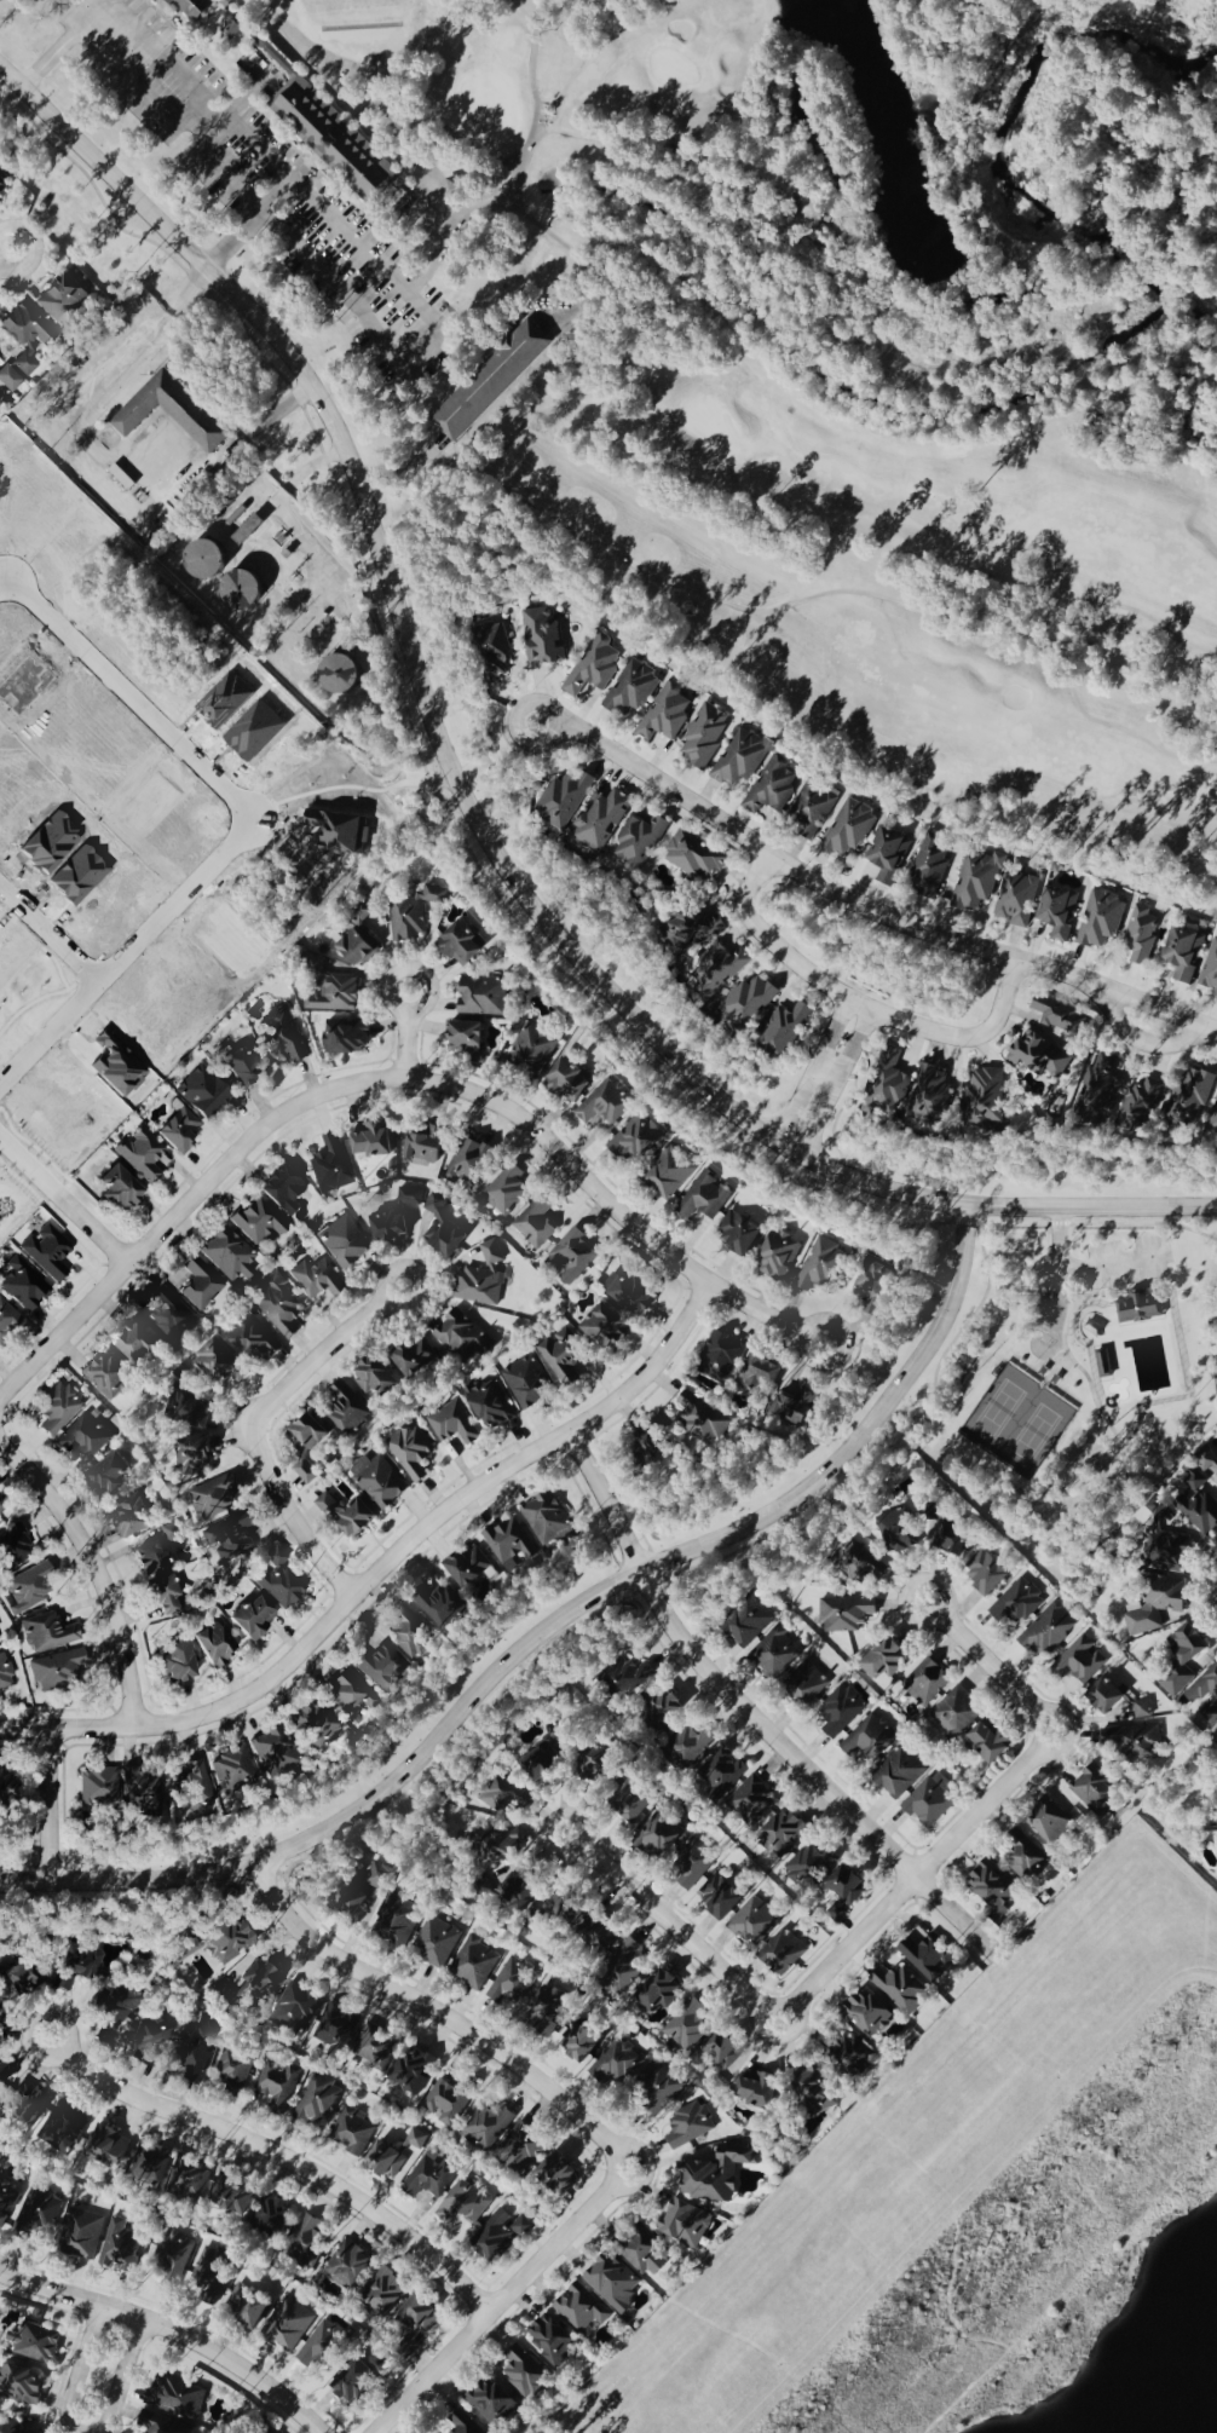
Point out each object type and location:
river: (1199, 4)
building: (190, 10)
road: (63, 42)
road: (530, 67)
road: (243, 98)
road: (177, 117)
building: (318, 119)
road: (552, 125)
road: (398, 128)
road: (613, 142)
river: (1011, 171)
building: (4, 180)
building: (450, 184)
parking lot: (261, 188)
building: (824, 217)
road: (5, 255)
road: (381, 276)
road: (593, 284)
road: (173, 296)
building: (62, 301)
road: (558, 315)
road: (119, 331)
building: (25, 336)
park: (692, 373)
building: (8, 380)
building: (490, 380)
building: (171, 409)
road: (160, 433)
road: (458, 462)
road: (404, 465)
road: (145, 477)
road: (283, 514)
road: (867, 541)
building: (204, 557)
road: (4, 586)
building: (241, 587)
road: (813, 599)
building: (541, 638)
building: (494, 652)
building: (593, 667)
building: (339, 671)
building: (631, 690)
road: (131, 692)
building: (664, 715)
building: (704, 736)
road: (413, 743)
building: (740, 759)
building: (771, 789)
building: (563, 800)
building: (812, 807)
road: (471, 817)
building: (601, 819)
building: (849, 829)
building: (639, 841)
building: (888, 855)
building: (694, 857)
building: (929, 870)
building: (977, 881)
building: (1016, 898)
road: (860, 907)
building: (1059, 912)
building: (410, 915)
building: (1101, 919)
building: (693, 929)
building: (1142, 934)
building: (358, 941)
road: (46, 944)
building: (460, 945)
road: (125, 951)
building: (1184, 953)
building: (1210, 970)
building: (334, 994)
building: (481, 997)
building: (749, 1002)
road: (858, 1005)
building: (1061, 1017)
road: (841, 1019)
building: (784, 1031)
road: (865, 1032)
road: (404, 1034)
building: (345, 1038)
building: (465, 1038)
building: (284, 1039)
road: (1142, 1040)
building: (532, 1051)
building: (1038, 1055)
building: (243, 1070)
road: (829, 1073)
building: (567, 1082)
building: (888, 1085)
road: (802, 1089)
building: (1098, 1090)
road: (328, 1091)
building: (202, 1092)
building: (984, 1099)
building: (1189, 1101)
road: (829, 1102)
building: (605, 1105)
building: (1138, 1105)
building: (1212, 1118)
building: (179, 1131)
building: (636, 1138)
building: (370, 1142)
building: (425, 1147)
road: (836, 1149)
building: (142, 1155)
building: (468, 1163)
building: (330, 1165)
building: (669, 1175)
building: (119, 1189)
building: (282, 1189)
building: (506, 1190)
building: (704, 1198)
road: (63, 1200)
building: (398, 1217)
building: (258, 1222)
building: (535, 1223)
building: (442, 1227)
building: (738, 1233)
building: (344, 1243)
road: (1049, 1249)
building: (46, 1252)
building: (227, 1256)
building: (570, 1257)
building: (778, 1257)
building: (819, 1267)
road: (1088, 1267)
road: (404, 1272)
building: (317, 1280)
building: (480, 1280)
building: (22, 1285)
building: (198, 1285)
road: (1094, 1288)
building: (875, 1291)
building: (627, 1293)
building: (279, 1307)
building: (1137, 1308)
road: (765, 1313)
building: (169, 1315)
building: (7, 1320)
building: (604, 1328)
building: (463, 1338)
building: (253, 1339)
building: (137, 1347)
building: (561, 1356)
building: (721, 1357)
building: (415, 1359)
building: (215, 1361)
building: (1102, 1365)
road: (1054, 1370)
building: (106, 1377)
building: (760, 1379)
building: (377, 1380)
building: (526, 1383)
park: (1079, 1388)
building: (491, 1406)
road: (1098, 1407)
building: (794, 1408)
building: (58, 1411)
building: (189, 1411)
building: (347, 1411)
building: (699, 1418)
building: (452, 1425)
road: (248, 1430)
building: (307, 1435)
building: (83, 1437)
building: (653, 1445)
building: (411, 1453)
building: (192, 1455)
building: (1206, 1464)
building: (306, 1474)
building: (108, 1476)
building: (377, 1482)
building: (213, 1498)
building: (1195, 1503)
road: (1069, 1509)
building: (1, 1512)
building: (346, 1516)
building: (134, 1517)
building: (548, 1521)
building: (898, 1532)
building: (174, 1533)
building: (230, 1538)
building: (951, 1540)
building: (511, 1543)
building: (12, 1546)
road: (644, 1549)
building: (1167, 1553)
building: (151, 1559)
building: (855, 1562)
road: (380, 1566)
building: (468, 1567)
road: (94, 1570)
building: (986, 1574)
building: (276, 1581)
road: (650, 1584)
building: (30, 1587)
road: (669, 1595)
building: (165, 1597)
building: (1016, 1604)
building: (1159, 1604)
building: (440, 1607)
building: (846, 1614)
building: (253, 1619)
building: (748, 1624)
road: (543, 1628)
building: (1048, 1632)
building: (46, 1633)
building: (413, 1637)
building: (0, 1639)
building: (215, 1644)
building: (775, 1654)
building: (1183, 1660)
building: (884, 1661)
road: (985, 1662)
building: (1079, 1662)
building: (178, 1664)
building: (380, 1667)
building: (56, 1670)
building: (5, 1673)
building: (624, 1680)
building: (925, 1683)
building: (807, 1684)
building: (1205, 1689)
building: (345, 1690)
building: (1118, 1701)
building: (841, 1711)
building: (662, 1712)
building: (954, 1714)
road: (746, 1718)
building: (313, 1725)
building: (869, 1739)
building: (1130, 1740)
building: (991, 1742)
building: (693, 1748)
building: (271, 1753)
building: (543, 1757)
building: (232, 1772)
building: (720, 1774)
building: (899, 1774)
building: (600, 1781)
building: (5, 1788)
building: (97, 1788)
building: (194, 1789)
building: (140, 1794)
building: (1097, 1794)
building: (506, 1797)
building: (630, 1801)
building: (750, 1801)
building: (932, 1801)
road: (46, 1805)
building: (1049, 1823)
building: (781, 1834)
building: (659, 1837)
building: (502, 1845)
building: (1025, 1857)
building: (691, 1866)
building: (808, 1867)
road: (915, 1876)
building: (992, 1885)
building: (367, 1886)
building: (847, 1887)
building: (485, 1893)
building: (515, 1893)
building: (719, 1897)
building: (558, 1907)
building: (398, 1920)
building: (752, 1922)
road: (668, 1926)
building: (598, 1936)
building: (227, 1942)
building: (436, 1943)
building: (780, 1954)
building: (928, 1958)
building: (473, 1965)
building: (77, 1968)
building: (622, 1968)
building: (253, 1981)
building: (512, 1982)
building: (17, 1983)
building: (901, 1989)
building: (659, 1993)
building: (114, 2002)
building: (296, 2011)
road: (432, 2013)
building: (547, 2013)
building: (866, 2016)
road: (795, 2025)
building: (686, 2028)
road: (759, 2028)
building: (336, 2031)
building: (148, 2041)
building: (586, 2043)
building: (720, 2048)
building: (194, 2051)
building: (850, 2058)
building: (393, 2062)
building: (731, 2062)
building: (615, 2064)
building: (233, 2074)
building: (276, 2086)
building: (659, 2086)
building: (755, 2092)
building: (814, 2093)
building: (448, 2102)
building: (316, 2103)
building: (28, 2104)
building: (488, 2127)
building: (688, 2127)
building: (62, 2129)
building: (351, 2133)
building: (416, 2140)
building: (108, 2149)
building: (518, 2150)
road: (277, 2156)
building: (385, 2161)
building: (149, 2168)
building: (715, 2174)
building: (429, 2178)
building: (556, 2178)
building: (188, 2181)
building: (231, 2199)
building: (6, 2202)
building: (463, 2206)
building: (38, 2215)
building: (271, 2221)
building: (685, 2225)
building: (81, 2235)
building: (500, 2237)
building: (306, 2243)
building: (120, 2248)
building: (646, 2255)
building: (173, 2259)
building: (348, 2267)
building: (212, 2273)
building: (611, 2283)
building: (382, 2295)
road: (496, 2301)
building: (247, 2306)
building: (581, 2310)
building: (416, 2317)
building: (287, 2327)
road: (169, 2333)
building: (552, 2341)
building: (34, 2345)
building: (321, 2346)
road: (74, 2373)
building: (525, 2375)
road: (120, 2379)
building: (19, 2383)
building: (353, 2385)
building: (175, 2399)
building: (490, 2405)
building: (463, 2423)
building: (160, 2426)
building: (11, 2429)
building: (40, 2432)

